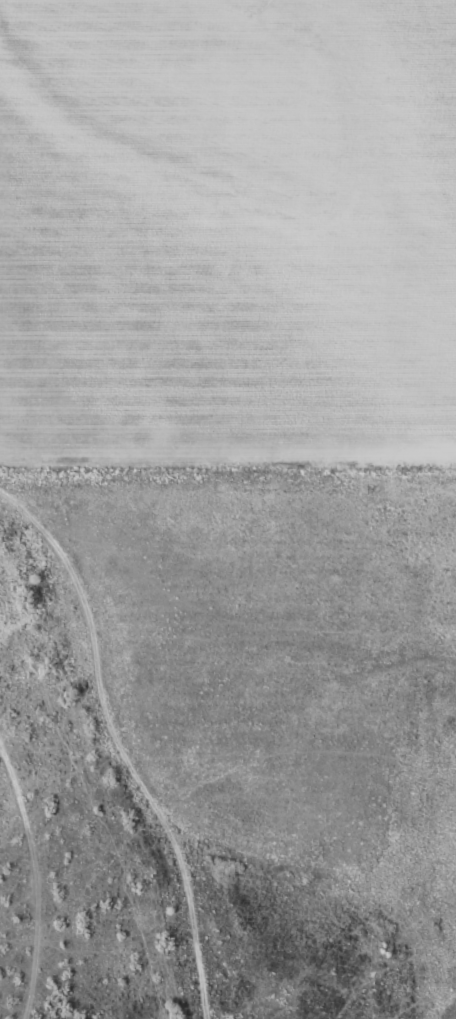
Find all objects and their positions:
road: (183, 700)

